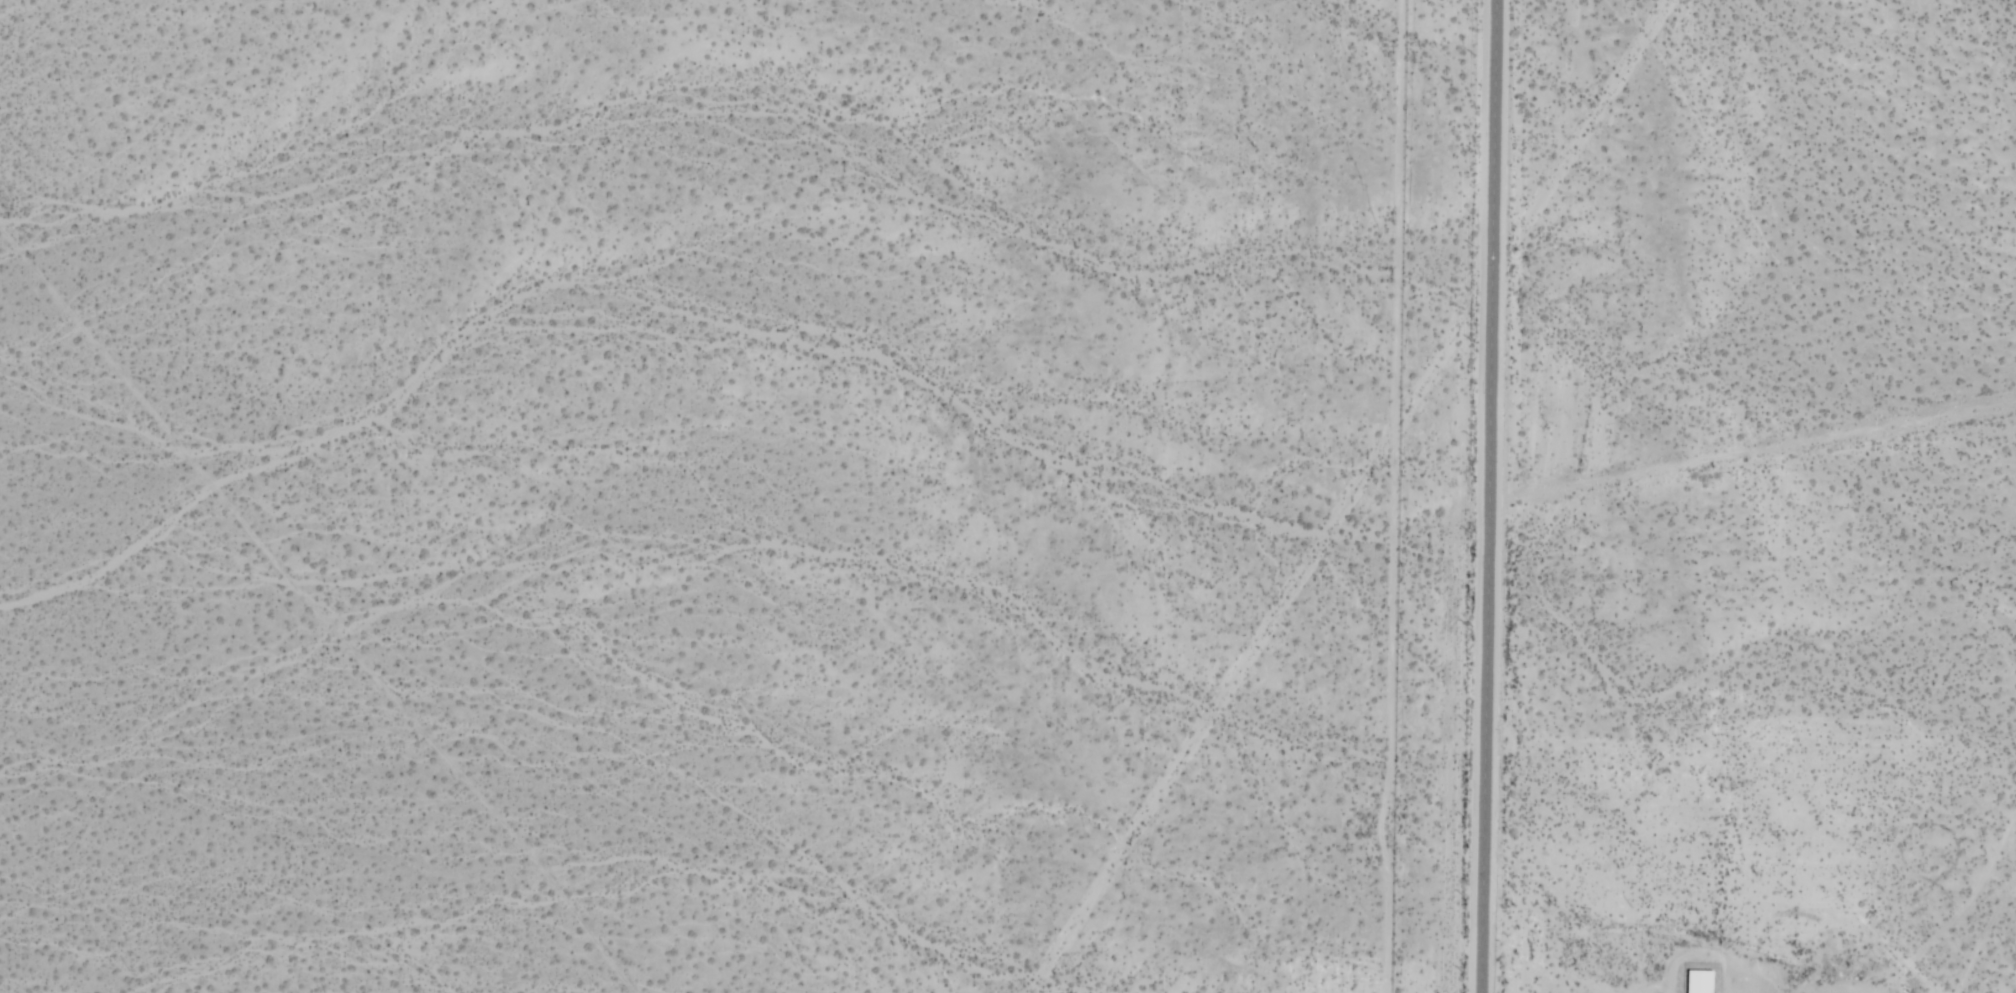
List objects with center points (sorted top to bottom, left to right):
road: (1488, 496)
building: (1699, 982)

